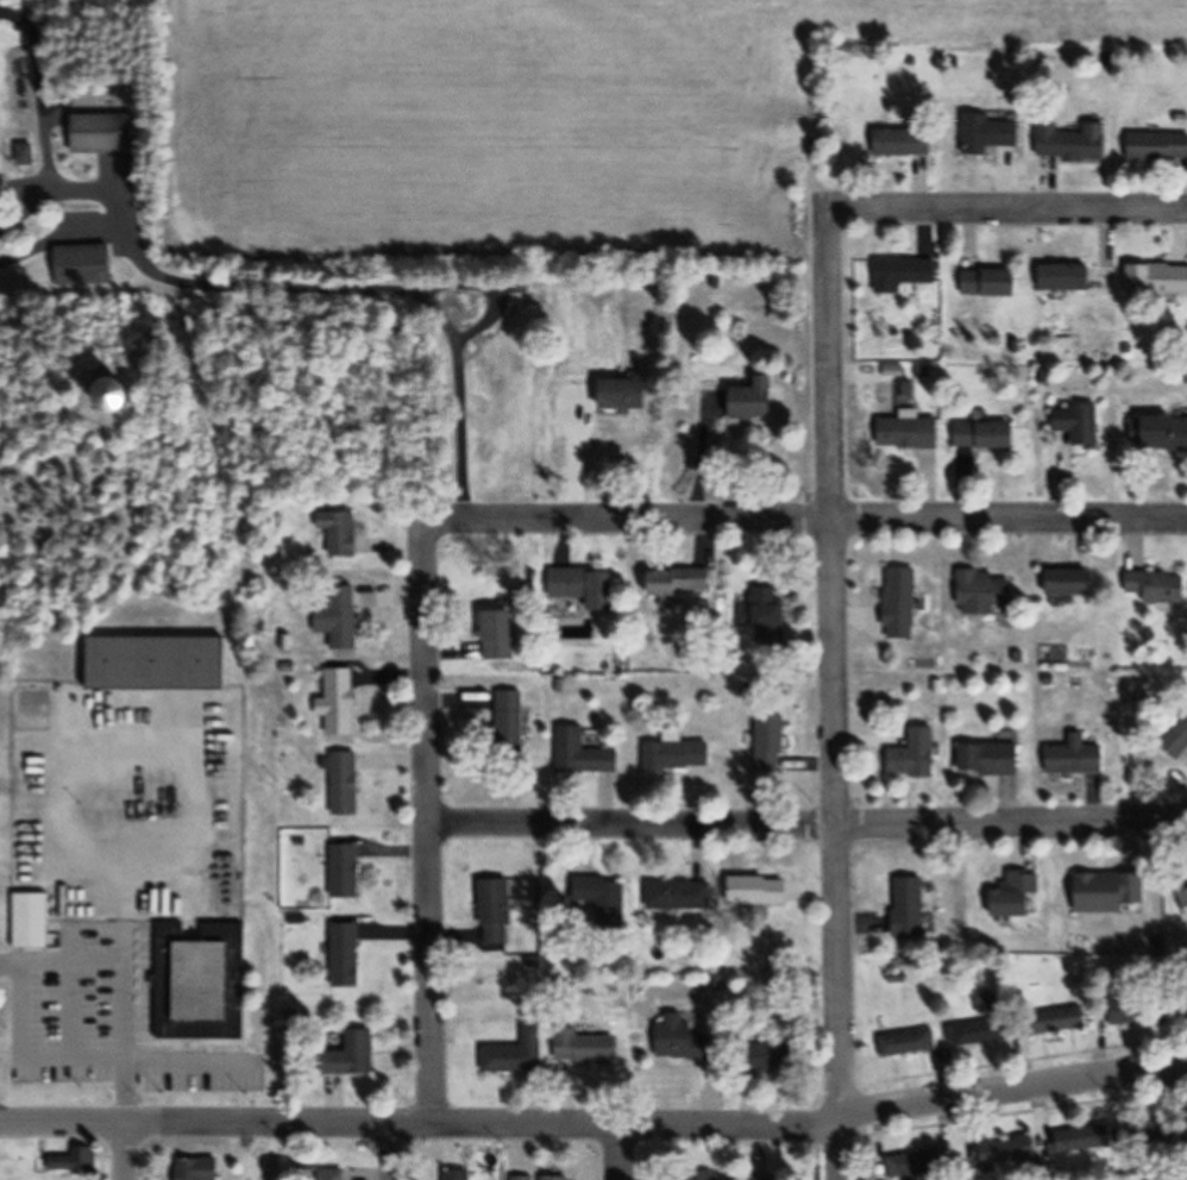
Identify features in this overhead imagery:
building: (106, 134)
building: (991, 134)
building: (906, 142)
building: (1073, 142)
building: (1160, 147)
road: (1006, 211)
building: (86, 264)
building: (906, 276)
building: (1072, 277)
road: (312, 280)
building: (1157, 280)
building: (992, 284)
building: (627, 395)
building: (149, 396)
building: (759, 400)
water tower: (127, 401)
building: (1082, 425)
building: (912, 434)
building: (1168, 434)
building: (990, 437)
road: (825, 515)
building: (345, 532)
building: (682, 582)
building: (1076, 584)
building: (586, 586)
building: (1160, 588)
building: (987, 591)
building: (904, 604)
building: (771, 609)
building: (341, 615)
building: (504, 635)
building: (157, 664)
road: (837, 695)
building: (343, 703)
building: (513, 718)
building: (1177, 739)
building: (773, 743)
building: (678, 754)
building: (586, 755)
building: (917, 755)
building: (1079, 758)
building: (992, 760)
building: (347, 785)
road: (428, 806)
road: (808, 828)
building: (346, 872)
building: (762, 892)
building: (604, 893)
building: (1109, 893)
building: (684, 896)
building: (1019, 896)
building: (1185, 899)
building: (912, 908)
building: (170, 912)
building: (500, 912)
building: (34, 921)
building: (348, 956)
road: (121, 981)
building: (205, 984)
building: (1138, 1012)
building: (1061, 1022)
building: (978, 1034)
building: (684, 1041)
building: (907, 1044)
building: (588, 1048)
building: (517, 1055)
building: (357, 1056)
building: (772, 1060)
road: (595, 1130)
building: (1154, 1131)
building: (1081, 1141)
road: (125, 1151)
road: (269, 1151)
road: (395, 1153)
building: (1010, 1153)
road: (616, 1155)
building: (75, 1163)
building: (915, 1166)
building: (201, 1169)
building: (334, 1174)
building: (461, 1175)
building: (522, 1179)
building: (558, 1179)
building: (780, 1179)

